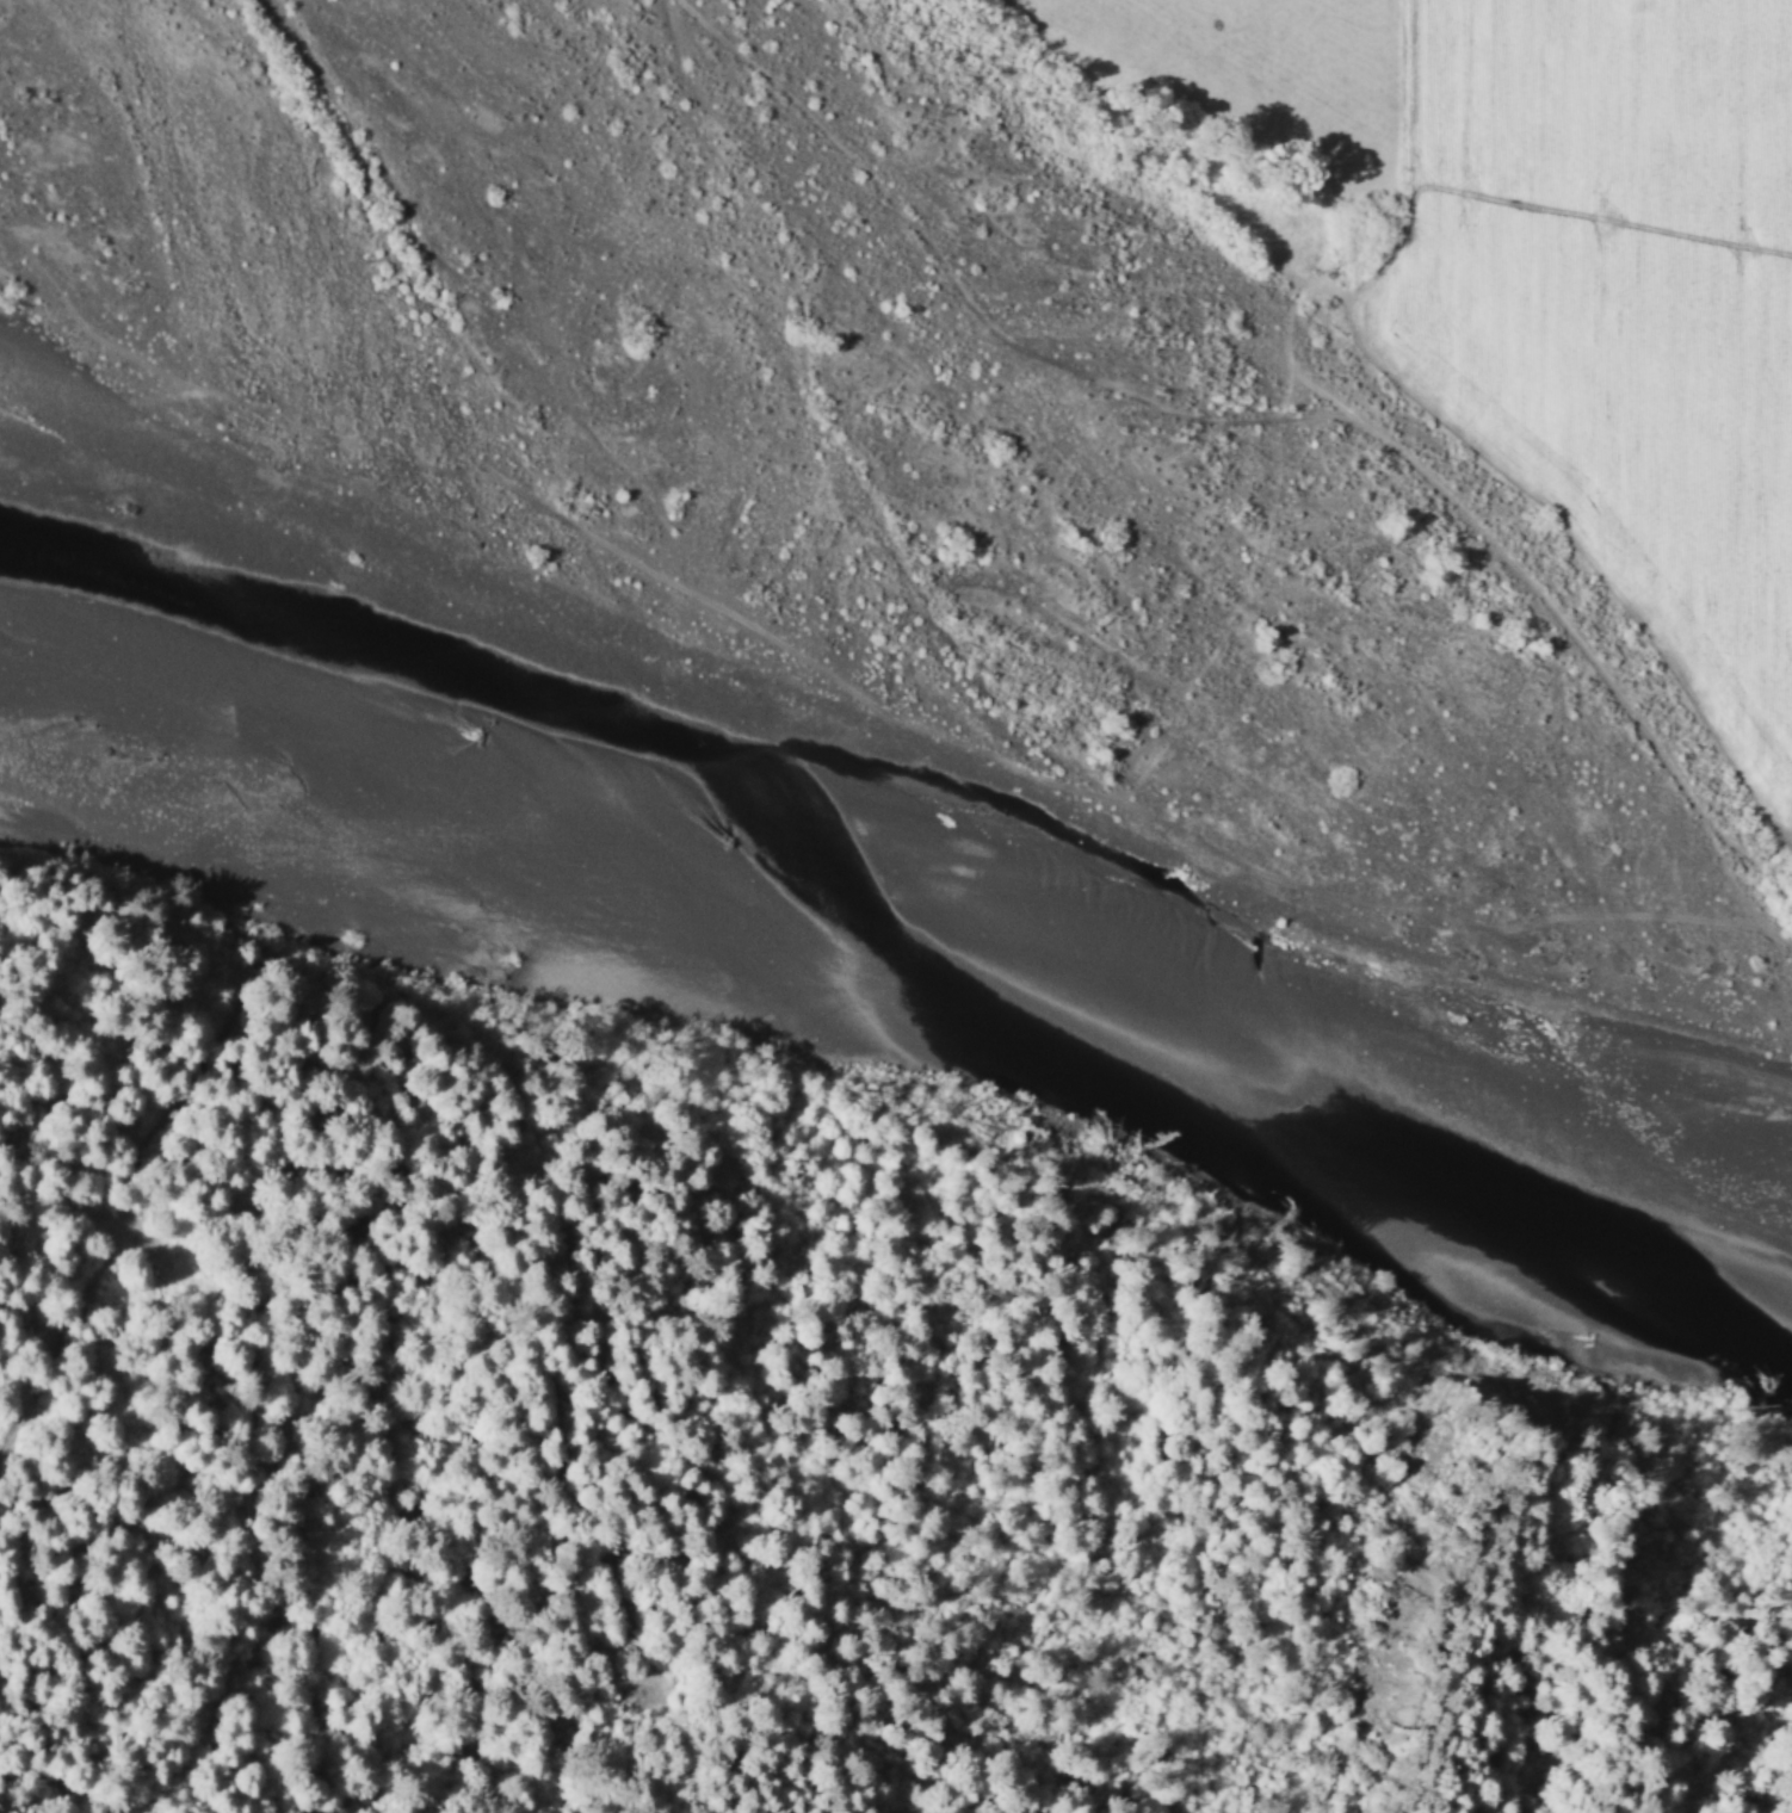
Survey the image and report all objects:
river: (468, 0)
river: (762, 456)
river: (1254, 1072)
river: (1467, 1206)
river: (1625, 1286)
river: (1782, 1373)
river: (1788, 1405)
river: (1788, 1412)

